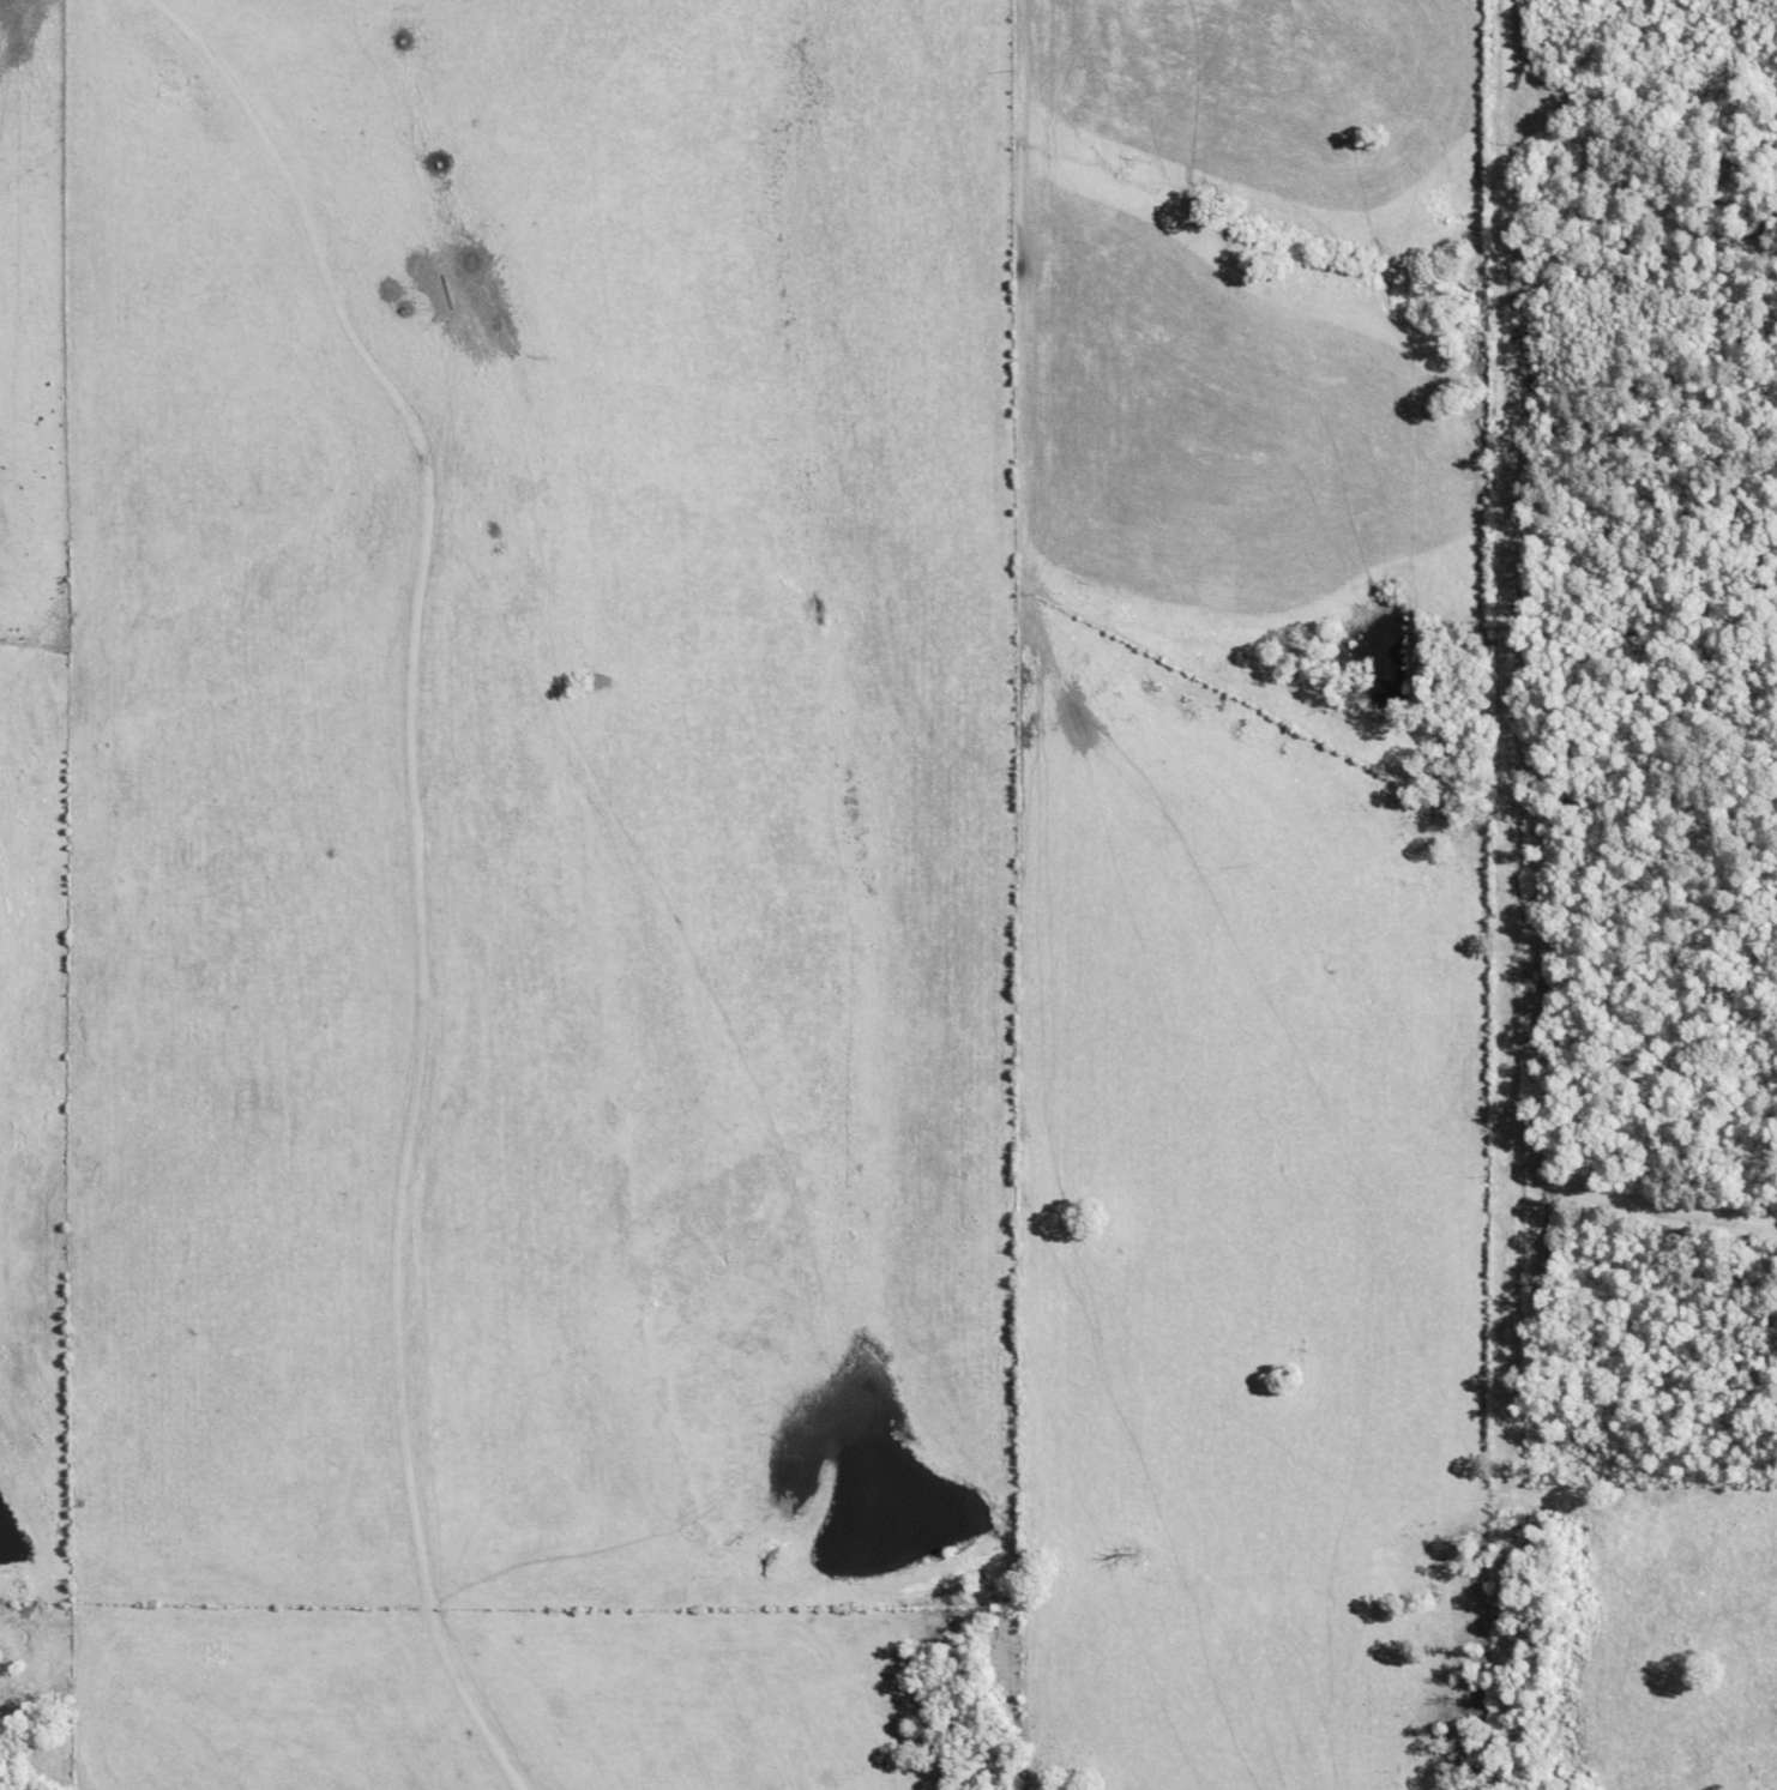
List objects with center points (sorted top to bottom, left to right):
road: (1526, 224)

